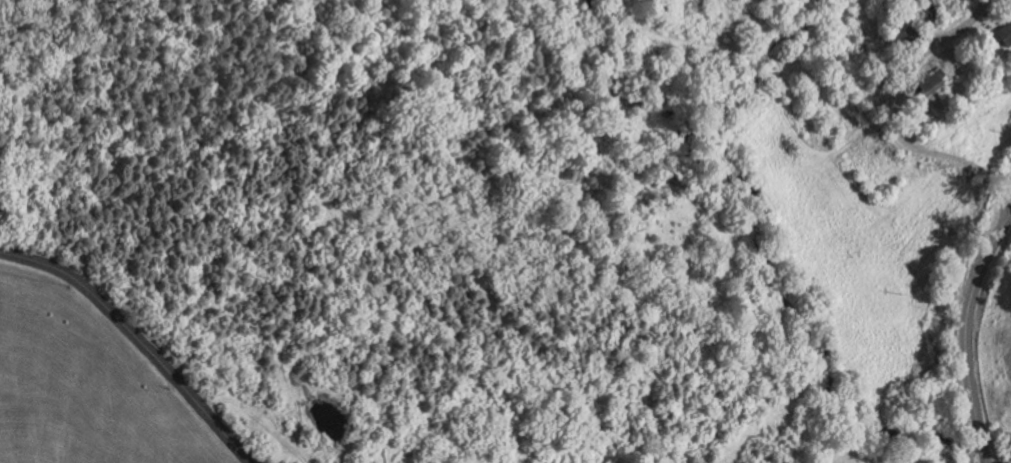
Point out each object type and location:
building: (932, 9)
building: (1005, 31)
building: (902, 39)
road: (784, 71)
building: (881, 75)
building: (927, 83)
road: (896, 126)
road: (1004, 179)
road: (966, 333)
road: (138, 338)

